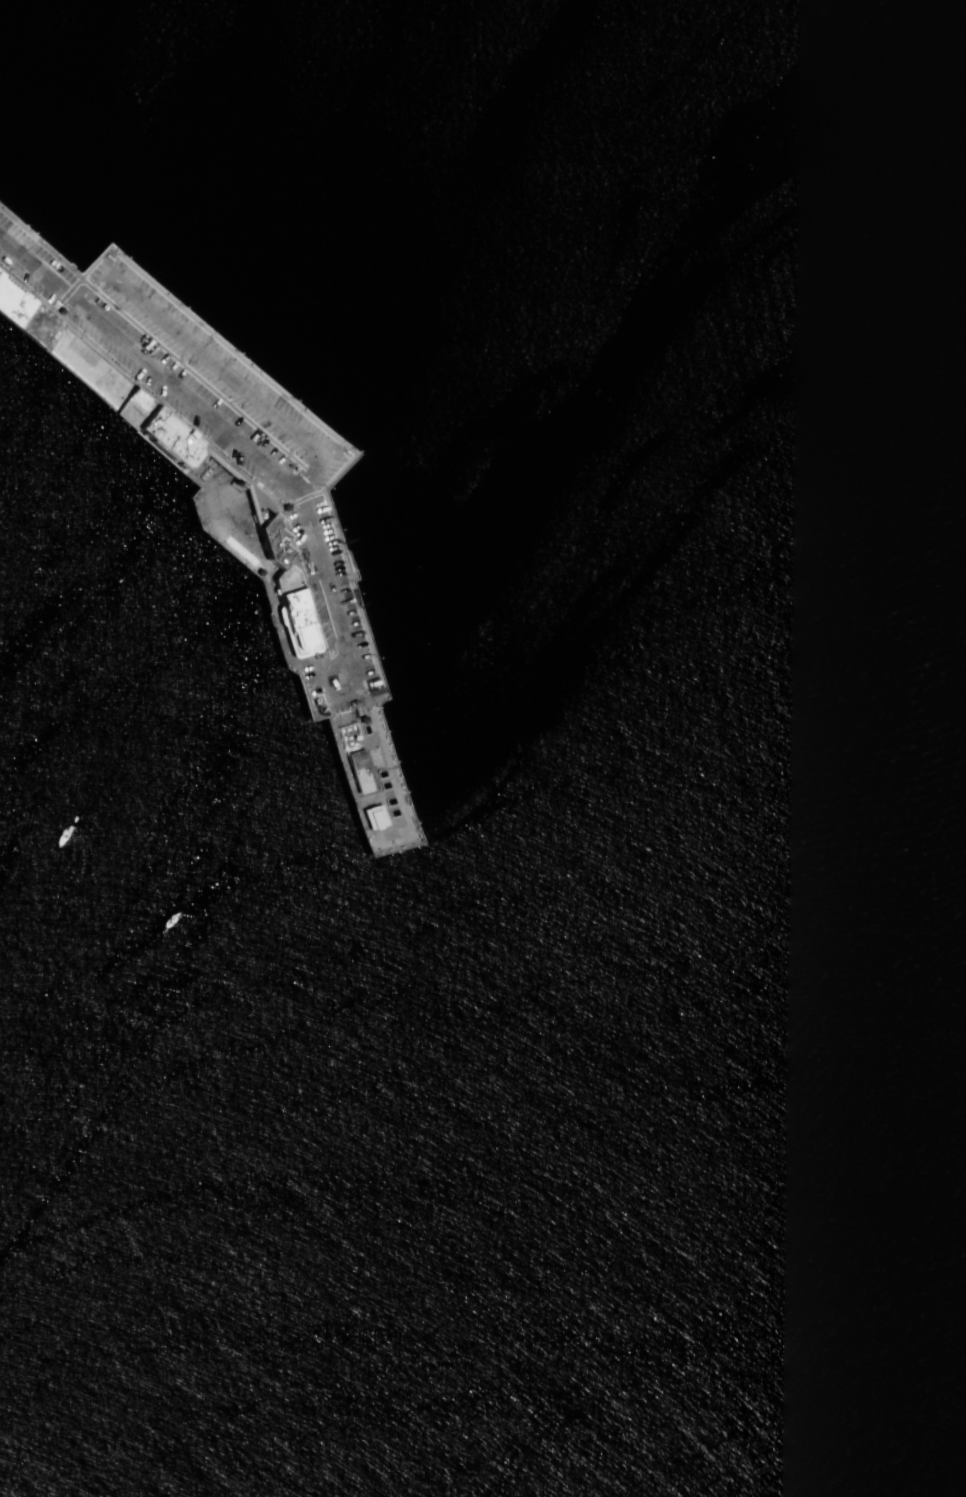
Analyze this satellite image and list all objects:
pier: (21, 223)
road: (31, 233)
road: (66, 295)
building: (25, 314)
road: (152, 338)
road: (218, 366)
street lamp: (128, 373)
road: (219, 419)
parking lot: (218, 428)
building: (158, 429)
road: (201, 447)
road: (211, 457)
road: (241, 472)
road: (239, 476)
pier: (227, 480)
road: (240, 480)
road: (243, 485)
road: (326, 487)
building: (231, 497)
road: (302, 498)
building: (271, 541)
park: (240, 549)
building: (295, 610)
road: (337, 693)
road: (352, 715)
building: (360, 771)
road: (351, 781)
building: (374, 817)

